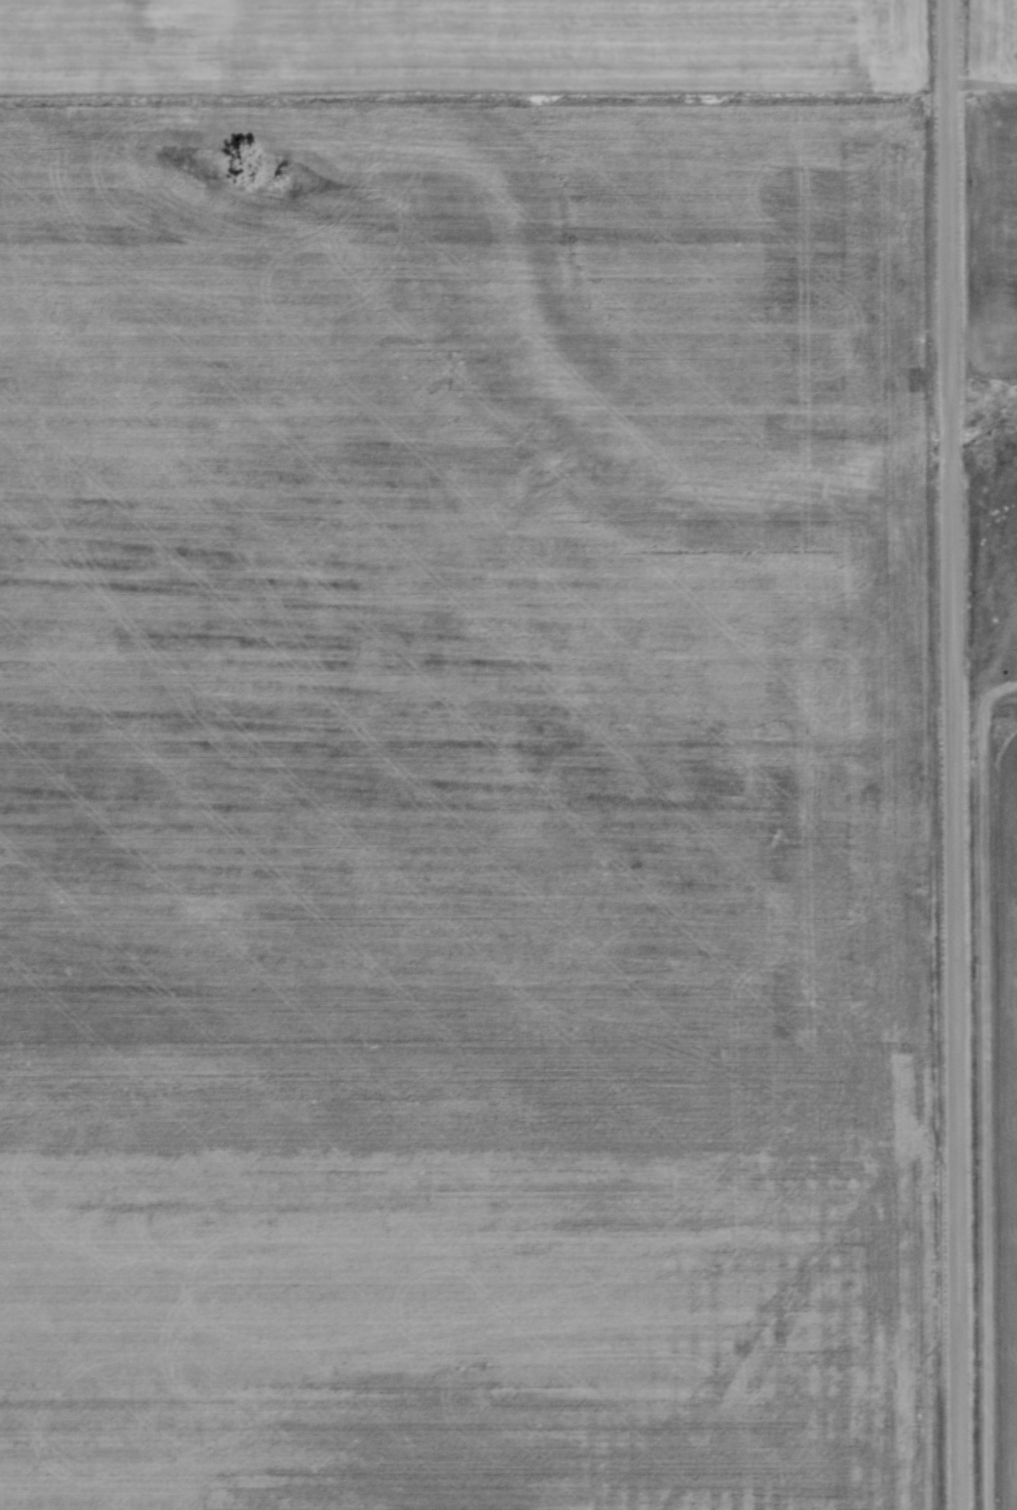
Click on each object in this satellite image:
crop: (991, 185)
road: (950, 755)
crop: (462, 756)
crop: (996, 1112)

